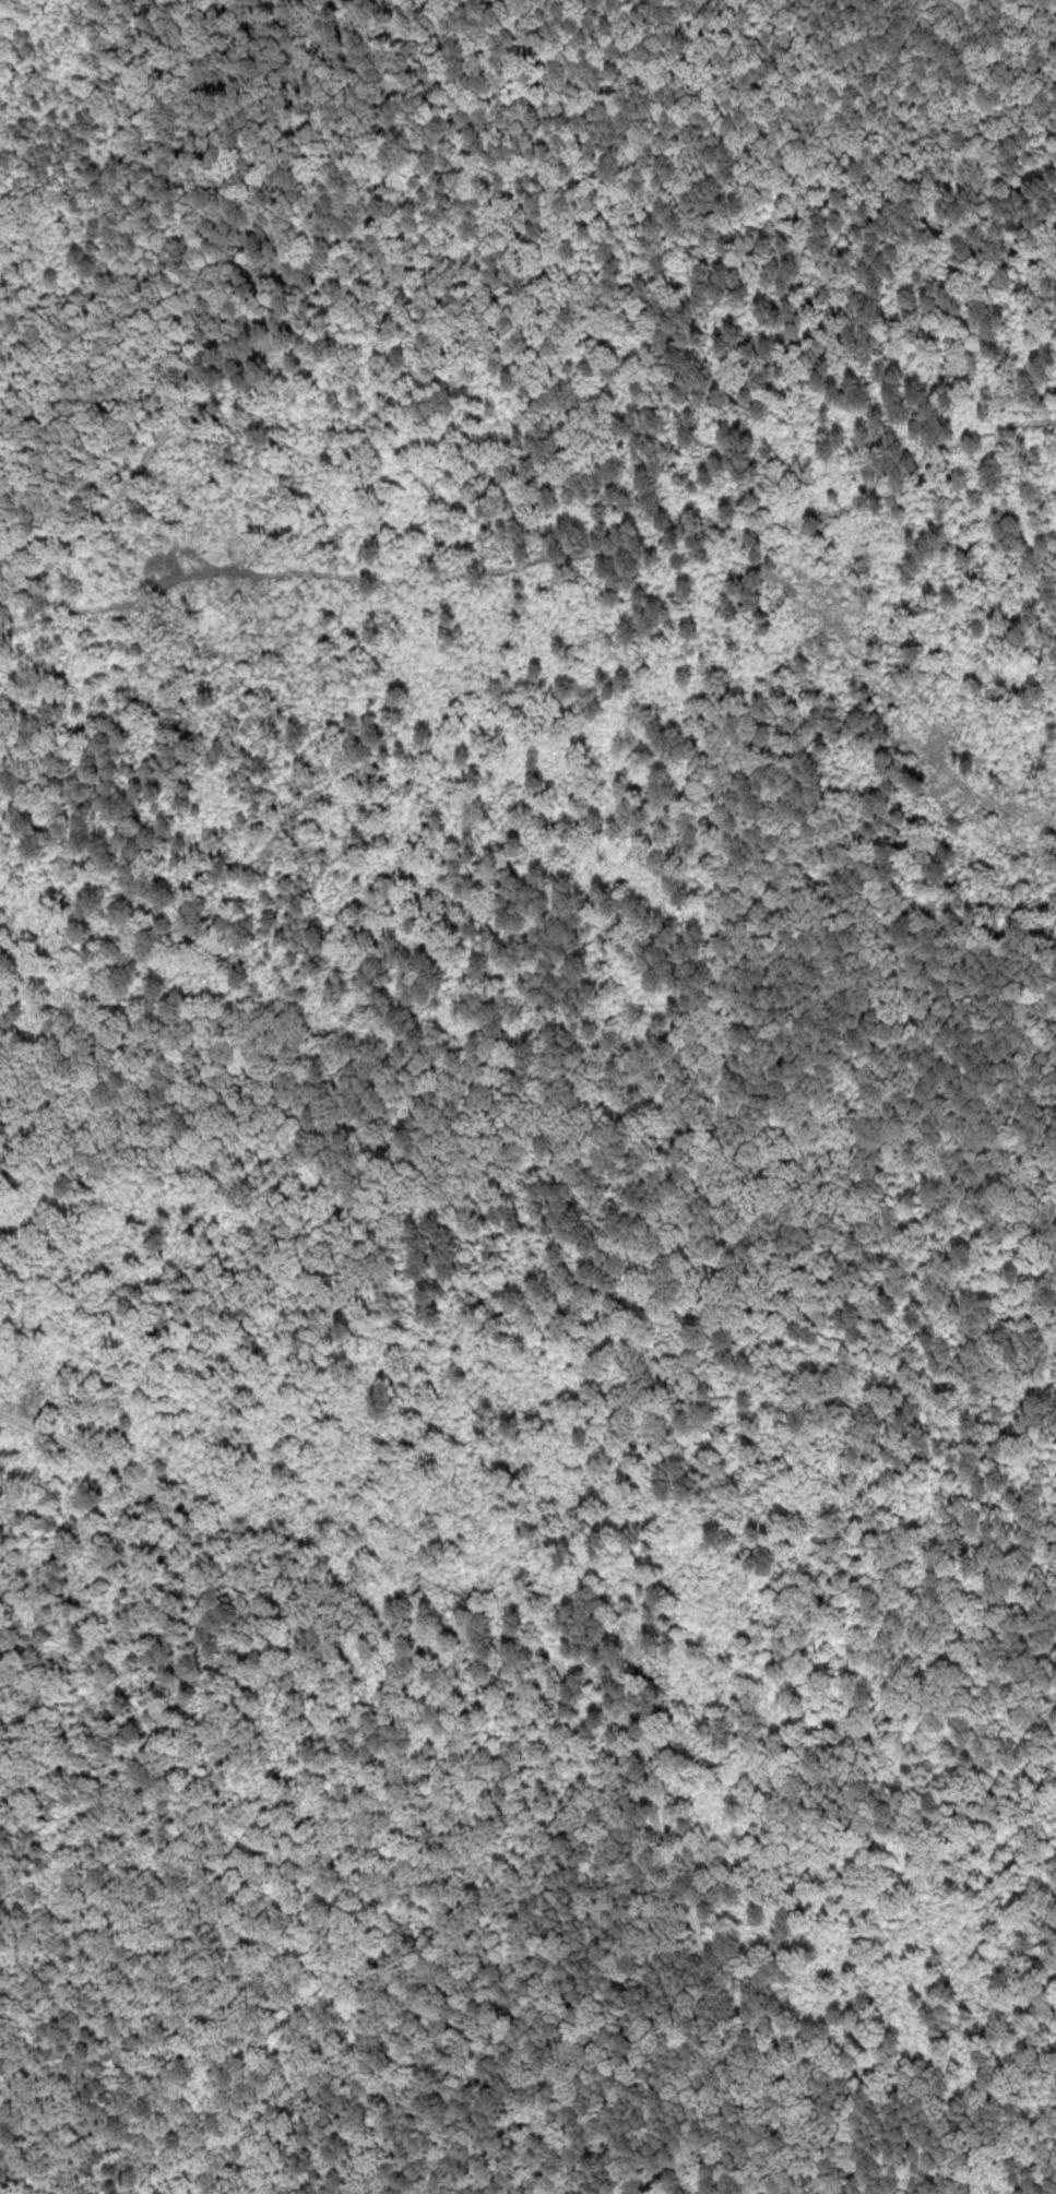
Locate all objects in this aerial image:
road: (598, 1709)

